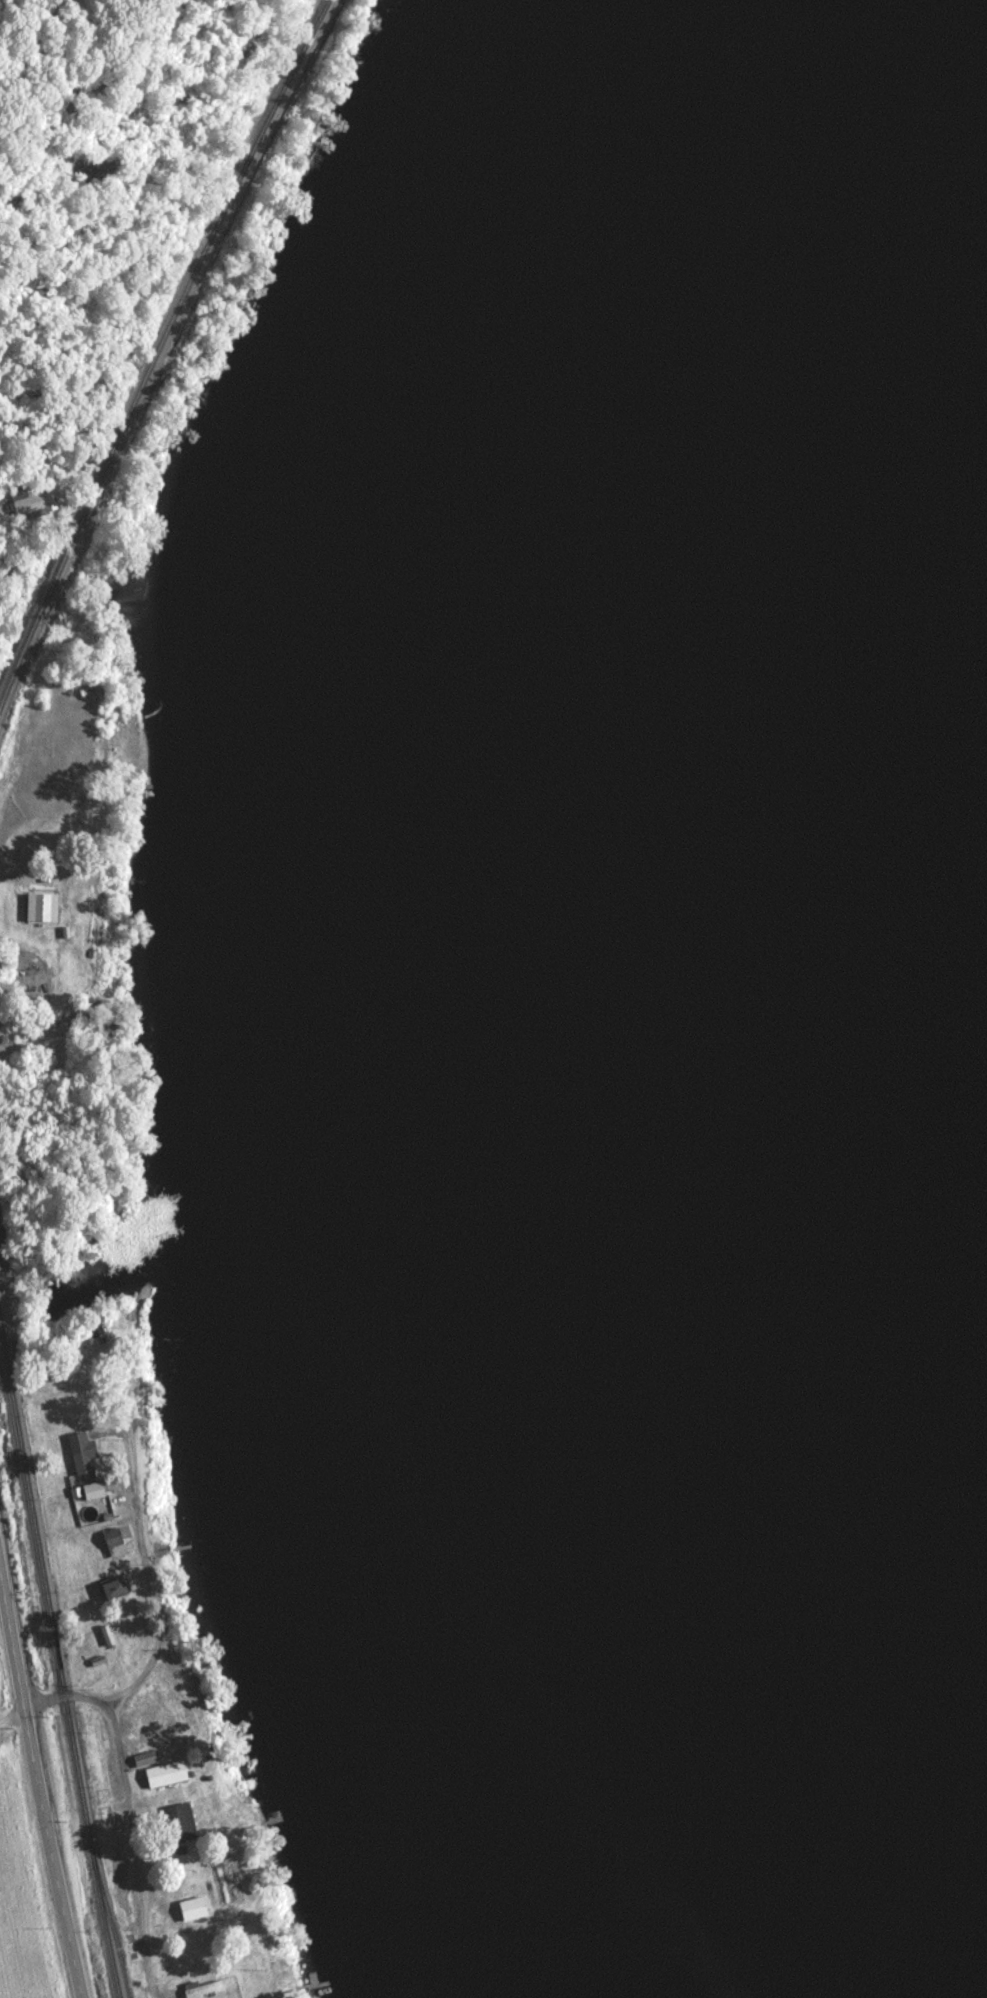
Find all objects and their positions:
railway: (162, 351)
building: (32, 506)
river: (637, 968)
building: (79, 1453)
building: (93, 1503)
building: (111, 1543)
building: (110, 1589)
road: (156, 1622)
railway: (57, 1666)
road: (11, 1718)
building: (142, 1759)
building: (163, 1775)
road: (39, 1788)
building: (179, 1824)
building: (194, 1908)
building: (200, 1990)

